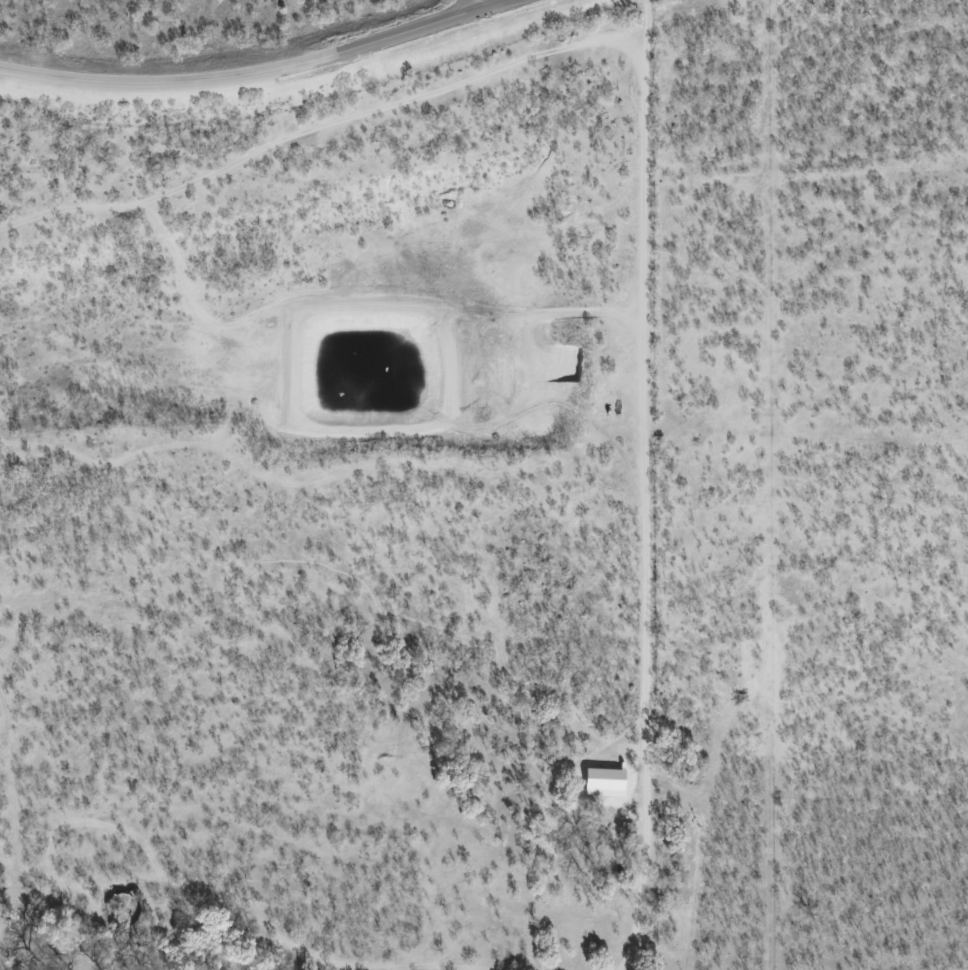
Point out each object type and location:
road: (478, 5)
road: (494, 5)
road: (242, 74)
road: (648, 485)

